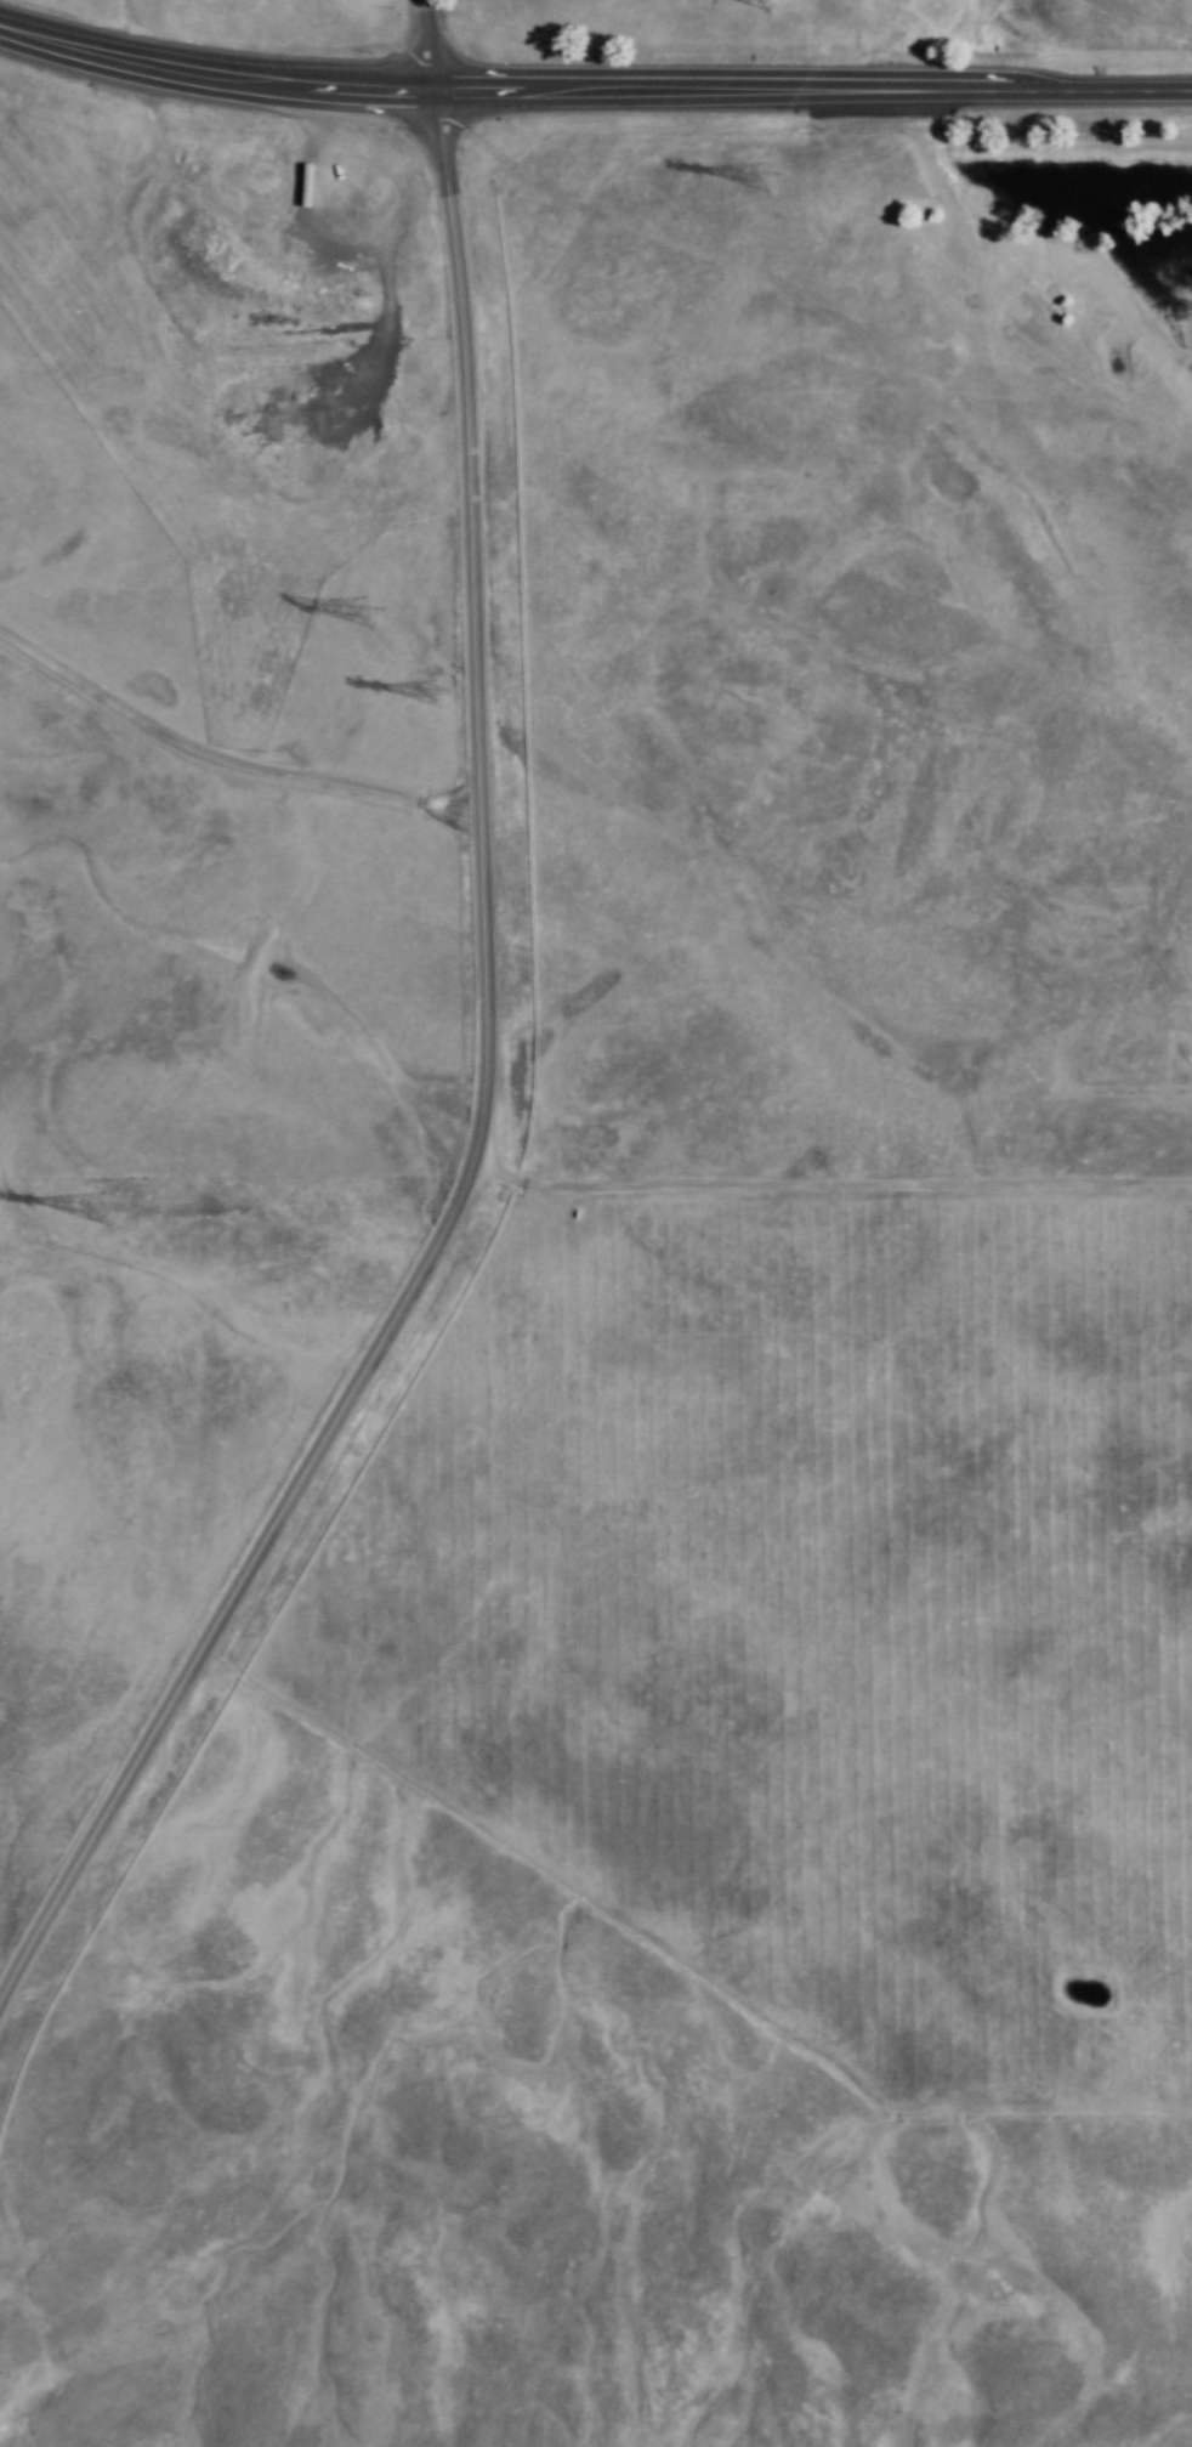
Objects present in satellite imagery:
road: (424, 47)
road: (212, 81)
road: (811, 94)
power tower: (767, 187)
power tower: (363, 611)
power tower: (435, 692)
road: (222, 759)
road: (479, 1104)
power tower: (107, 1207)

